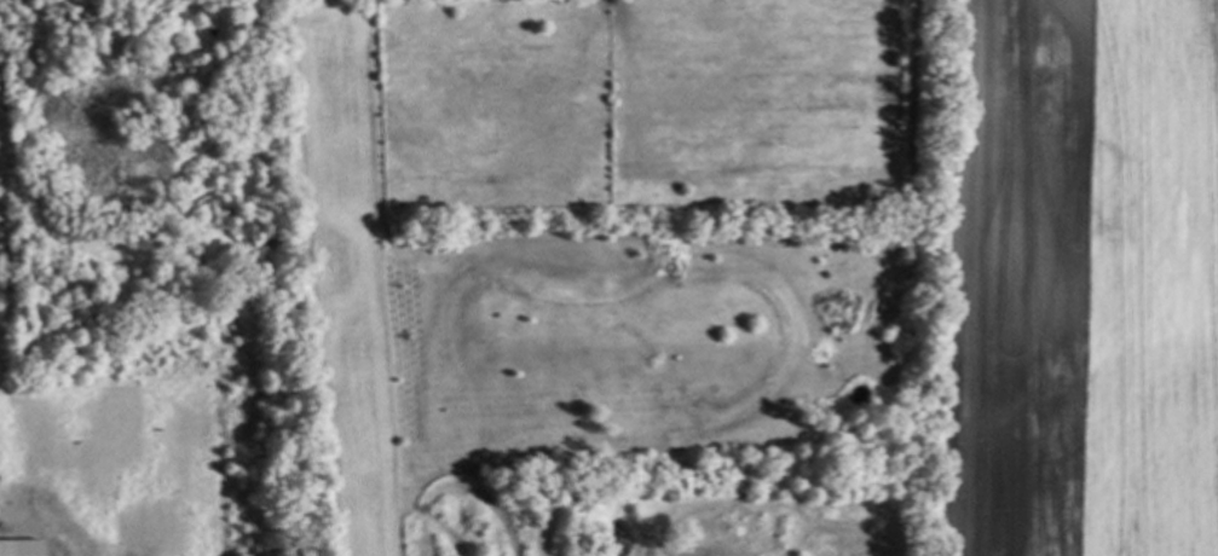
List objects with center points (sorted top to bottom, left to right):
crop: (1076, 279)
building: (19, 546)

